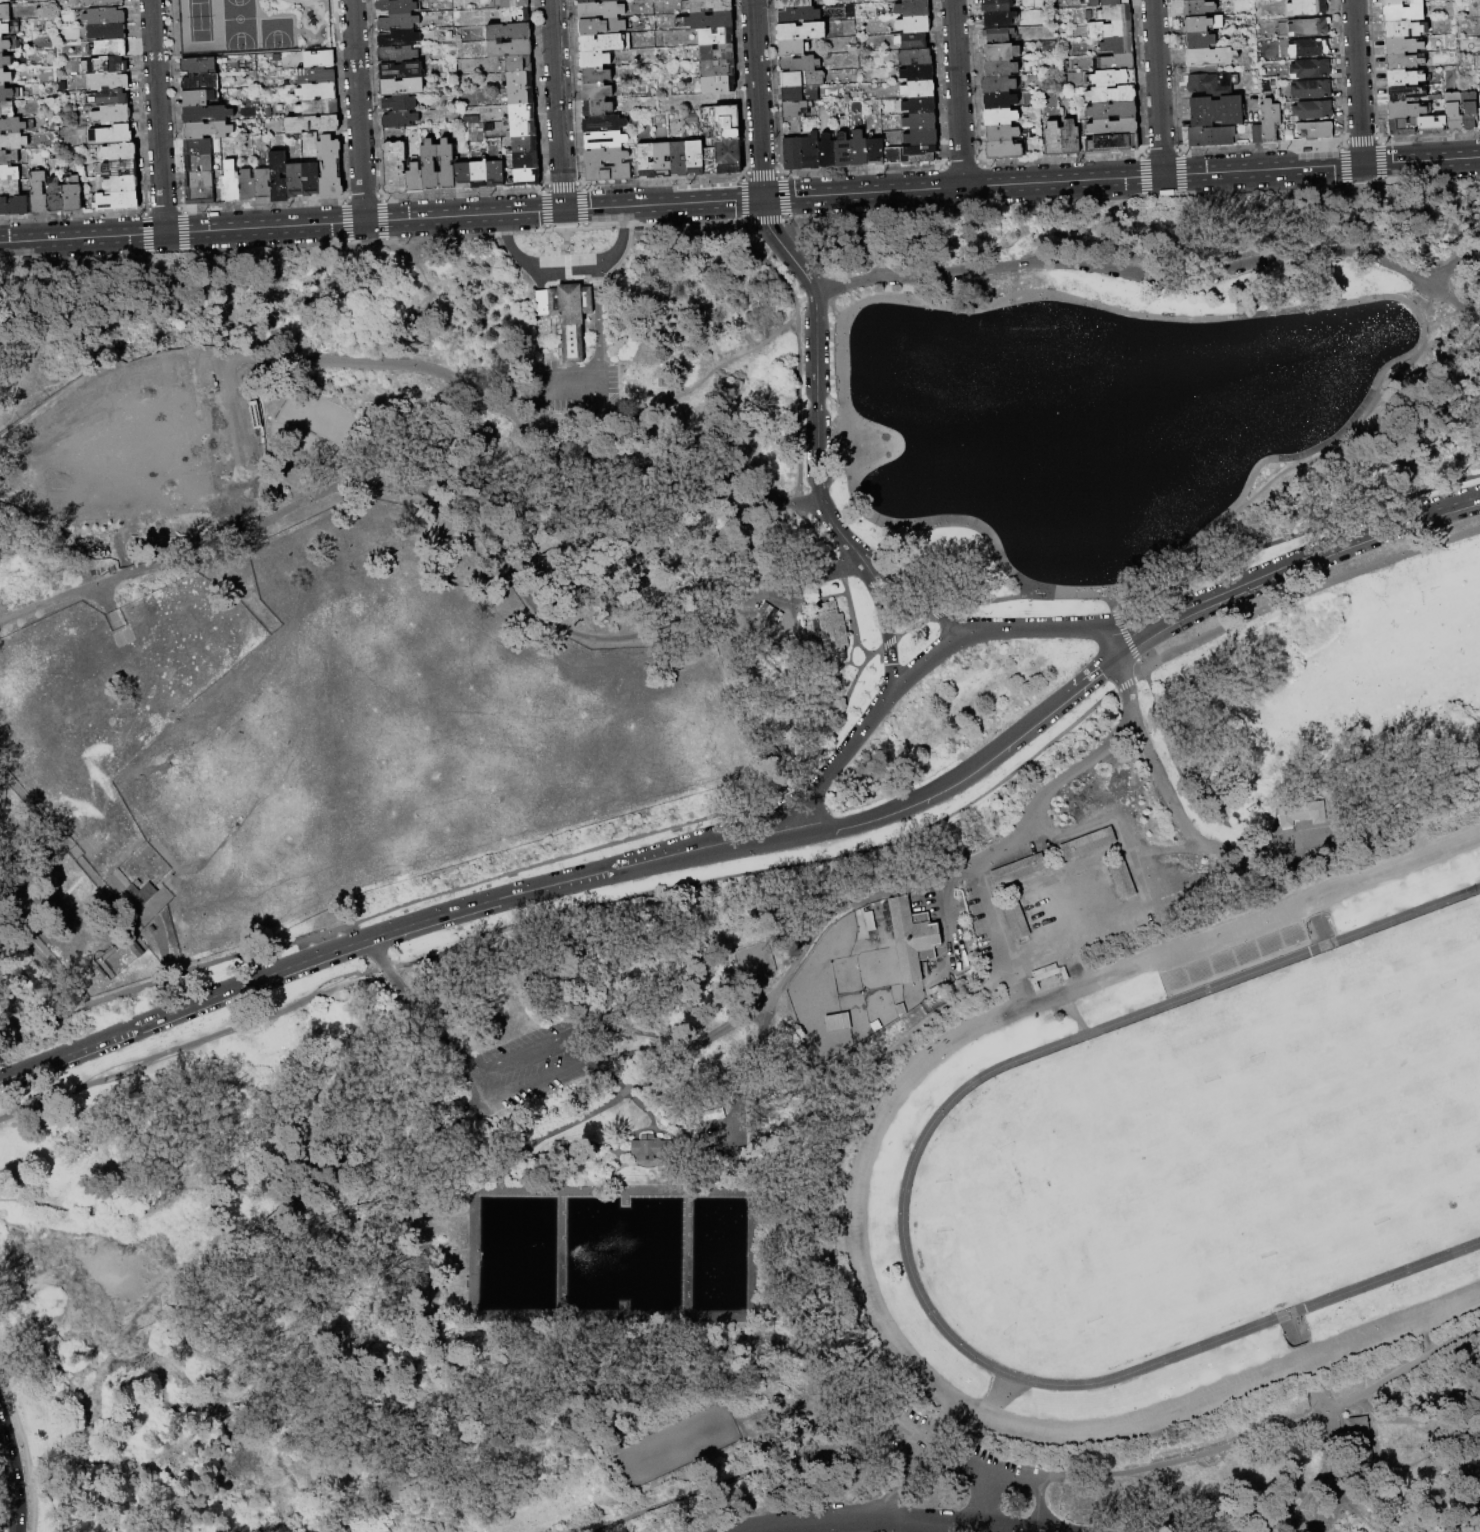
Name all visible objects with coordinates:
building: (911, 0)
building: (1193, 0)
building: (6, 1)
building: (103, 2)
road: (300, 2)
building: (596, 2)
building: (1108, 2)
building: (1401, 2)
building: (515, 3)
building: (793, 3)
building: (998, 5)
building: (396, 6)
building: (707, 6)
building: (1308, 7)
building: (914, 8)
building: (1198, 8)
building: (601, 11)
building: (5, 12)
building: (1116, 13)
building: (1403, 13)
building: (516, 15)
building: (800, 15)
building: (105, 16)
building: (1000, 19)
park: (200, 20)
building: (710, 20)
building: (399, 21)
park: (239, 24)
building: (914, 24)
building: (1203, 24)
park: (250, 26)
building: (602, 26)
building: (1310, 27)
building: (10, 28)
building: (1110, 29)
building: (1405, 29)
building: (107, 31)
building: (802, 31)
park: (276, 32)
building: (510, 32)
building: (716, 36)
building: (1000, 36)
building: (399, 38)
building: (912, 41)
building: (1201, 41)
building: (602, 42)
building: (7, 45)
building: (1118, 45)
building: (1403, 46)
building: (111, 48)
building: (510, 48)
building: (794, 48)
building: (1309, 48)
building: (718, 52)
building: (1001, 52)
building: (399, 54)
building: (915, 57)
building: (320, 59)
building: (595, 59)
building: (1210, 59)
building: (5, 61)
building: (1407, 61)
building: (1118, 62)
building: (110, 64)
building: (520, 64)
building: (800, 64)
building: (198, 65)
building: (718, 68)
building: (1000, 68)
building: (1311, 69)
building: (401, 70)
building: (918, 73)
building: (316, 75)
building: (596, 76)
building: (5, 77)
building: (1114, 78)
building: (1402, 78)
building: (803, 79)
building: (521, 80)
building: (110, 81)
road: (1358, 81)
building: (200, 83)
building: (719, 84)
building: (1211, 84)
building: (999, 85)
building: (402, 87)
road: (1158, 87)
building: (1312, 89)
building: (919, 90)
building: (318, 91)
building: (597, 92)
building: (12, 93)
building: (801, 93)
road: (957, 93)
building: (1405, 94)
building: (1112, 95)
building: (521, 96)
building: (115, 97)
building: (199, 98)
road: (757, 99)
building: (999, 101)
building: (401, 103)
road: (558, 104)
building: (919, 106)
building: (319, 108)
building: (598, 108)
building: (7, 109)
building: (795, 109)
road: (357, 110)
building: (1313, 110)
building: (1405, 110)
building: (1469, 110)
building: (1112, 111)
building: (1217, 111)
building: (1454, 111)
building: (522, 112)
building: (207, 114)
building: (113, 115)
road: (158, 115)
building: (1000, 117)
building: (400, 119)
building: (921, 121)
building: (1268, 123)
building: (313, 124)
building: (604, 124)
building: (13, 125)
building: (1432, 125)
building: (1402, 126)
building: (1114, 127)
building: (523, 128)
building: (208, 130)
building: (1316, 130)
building: (1002, 133)
building: (112, 134)
building: (922, 136)
building: (1211, 136)
building: (1052, 139)
building: (1069, 139)
building: (606, 140)
building: (722, 140)
building: (13, 141)
building: (1112, 144)
building: (525, 145)
building: (198, 147)
building: (859, 150)
building: (1004, 150)
building: (121, 151)
building: (811, 151)
building: (827, 152)
building: (842, 152)
building: (875, 152)
building: (911, 153)
building: (794, 154)
building: (606, 156)
building: (9, 157)
building: (679, 158)
building: (695, 158)
building: (647, 160)
building: (663, 160)
building: (527, 161)
building: (199, 163)
building: (447, 165)
building: (430, 166)
building: (122, 168)
building: (331, 168)
building: (395, 168)
building: (608, 172)
building: (9, 173)
building: (495, 174)
building: (480, 175)
building: (464, 176)
road: (1121, 176)
building: (280, 177)
building: (527, 177)
building: (200, 179)
building: (311, 179)
building: (415, 179)
building: (296, 180)
building: (231, 182)
building: (123, 184)
building: (262, 184)
building: (246, 185)
building: (10, 188)
building: (39, 193)
building: (73, 195)
building: (56, 196)
building: (201, 196)
traffic signals: (764, 198)
building: (117, 201)
building: (15, 206)
road: (1353, 207)
road: (380, 218)
road: (382, 219)
road: (346, 221)
road: (1136, 224)
road: (1137, 226)
road: (182, 231)
road: (147, 234)
road: (1473, 239)
road: (375, 240)
road: (247, 250)
road: (813, 259)
road: (74, 260)
road: (1446, 261)
road: (568, 270)
road: (1154, 275)
road: (163, 292)
road: (426, 301)
road: (194, 303)
building: (566, 314)
road: (601, 318)
road: (381, 362)
road: (227, 369)
road: (816, 376)
road: (88, 377)
road: (693, 382)
parking lot: (580, 388)
road: (546, 395)
road: (798, 429)
road: (237, 430)
road: (1340, 434)
parking lot: (239, 443)
road: (515, 474)
road: (688, 477)
road: (456, 502)
road: (670, 510)
road: (608, 530)
road: (1332, 548)
road: (928, 604)
road: (1147, 618)
road: (1056, 627)
road: (886, 629)
building: (831, 630)
road: (1151, 633)
road: (1109, 641)
road: (935, 653)
road: (1091, 676)
road: (1125, 689)
road: (853, 741)
road: (1176, 761)
road: (964, 774)
road: (772, 789)
road: (818, 808)
building: (1300, 812)
road: (1035, 813)
road: (1384, 822)
road: (753, 823)
road: (1183, 824)
building: (1087, 842)
road: (759, 843)
road: (1292, 856)
building: (1017, 869)
road: (762, 871)
park: (748, 876)
building: (1121, 878)
building: (142, 892)
road: (520, 892)
road: (934, 905)
flagpole: (862, 908)
building: (1015, 918)
building: (869, 920)
road: (1320, 930)
building: (911, 937)
building: (1085, 940)
road: (1000, 950)
road: (802, 956)
road: (1016, 987)
park: (1439, 990)
road: (184, 1008)
building: (899, 1008)
road: (420, 1011)
building: (1058, 1016)
road: (1076, 1017)
building: (535, 1039)
road: (665, 1040)
road: (617, 1049)
park: (1283, 1061)
road: (585, 1064)
road: (577, 1066)
road: (998, 1067)
track: (998, 1067)
parking lot: (528, 1075)
road: (639, 1101)
road: (467, 1117)
road: (655, 1117)
parking lot: (724, 1122)
road: (682, 1131)
track: (874, 1132)
park: (1463, 1132)
road: (729, 1133)
park: (1085, 1136)
road: (625, 1139)
road: (532, 1145)
road: (683, 1147)
building: (652, 1149)
road: (695, 1158)
track: (1188, 1161)
stadium: (1185, 1162)
road: (650, 1164)
road: (497, 1178)
road: (827, 1178)
road: (471, 1189)
park: (1333, 1195)
road: (785, 1230)
road: (346, 1240)
dam: (562, 1254)
dam: (687, 1254)
park: (1144, 1273)
road: (190, 1294)
road: (1305, 1306)
track: (1305, 1306)
road: (1294, 1328)
road: (751, 1342)
road: (1401, 1370)
road: (1002, 1390)
road: (593, 1399)
road: (1322, 1404)
road: (1419, 1412)
road: (1453, 1436)
building: (1359, 1437)
road: (25, 1447)
parking lot: (970, 1449)
road: (117, 1450)
road: (967, 1458)
road: (953, 1459)
road: (13, 1473)
road: (1332, 1476)
road: (905, 1477)
road: (1356, 1501)
road: (1041, 1504)
road: (1285, 1506)
road: (897, 1519)

